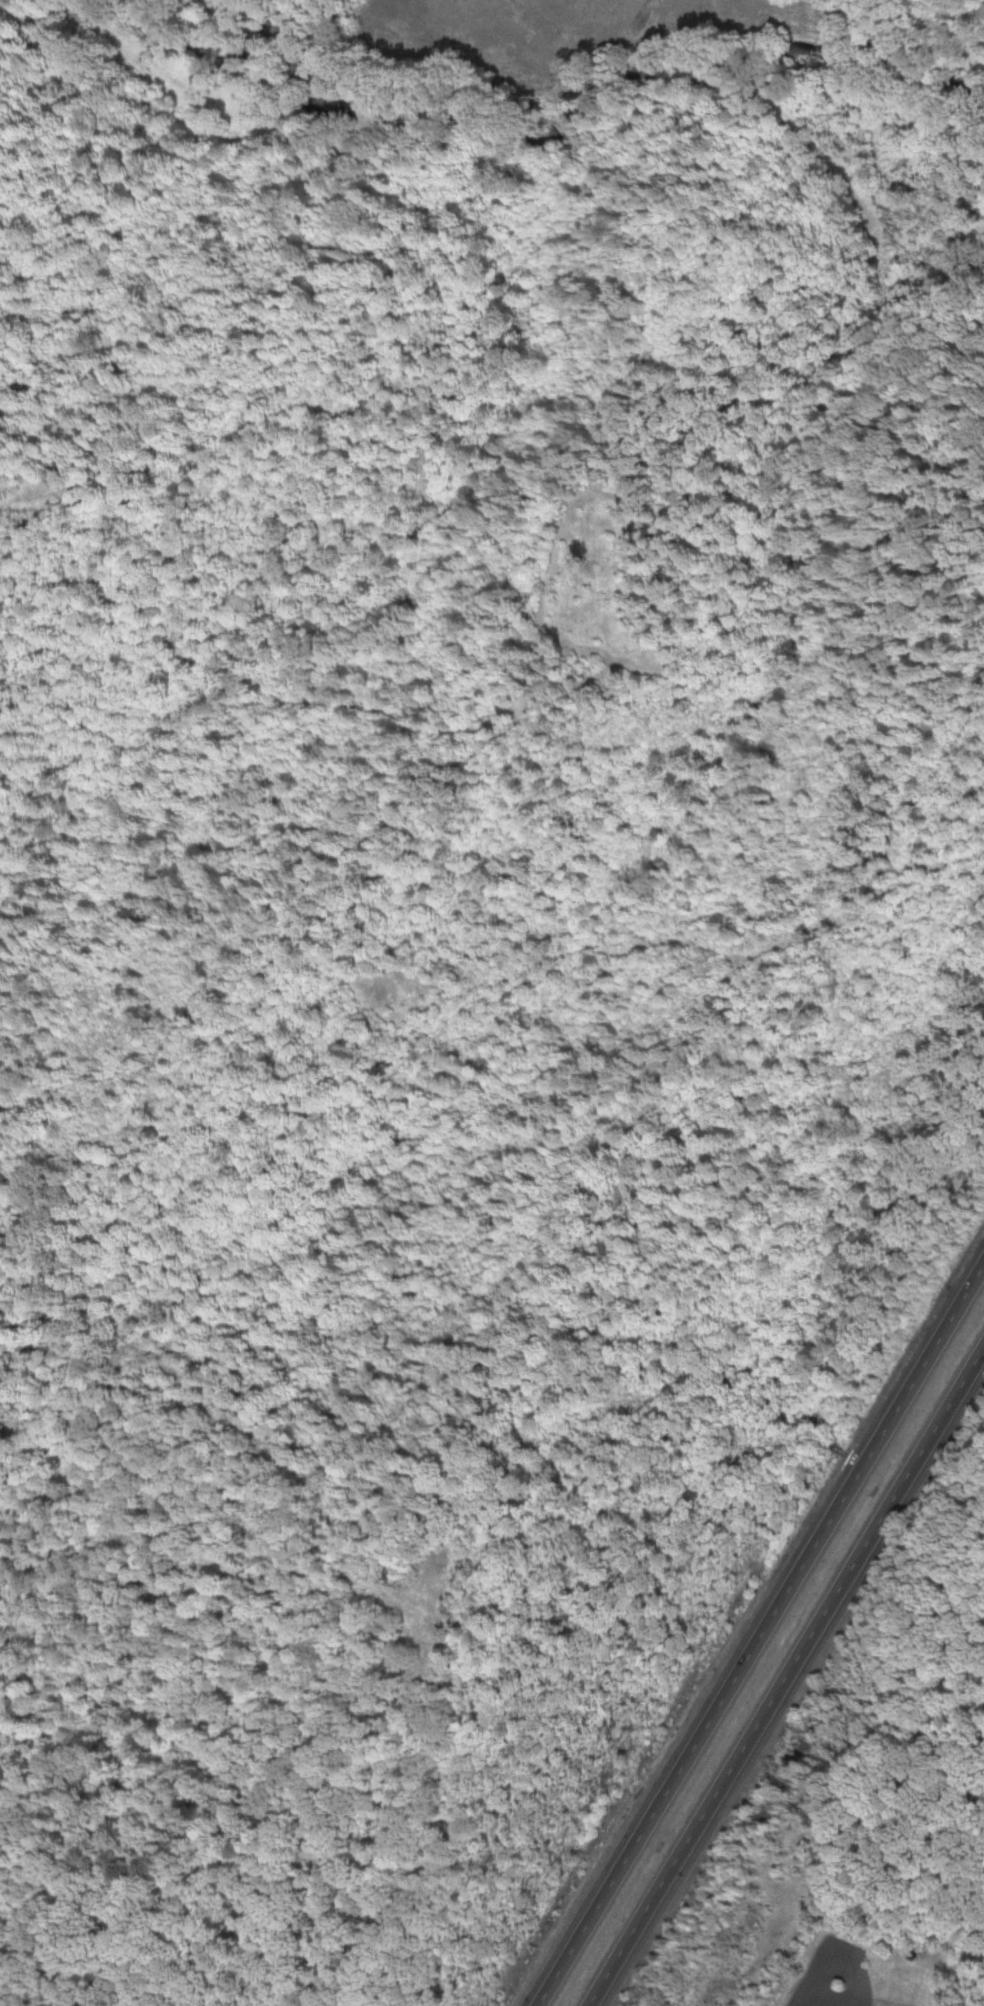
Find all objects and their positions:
road: (751, 1635)
road: (785, 1684)

